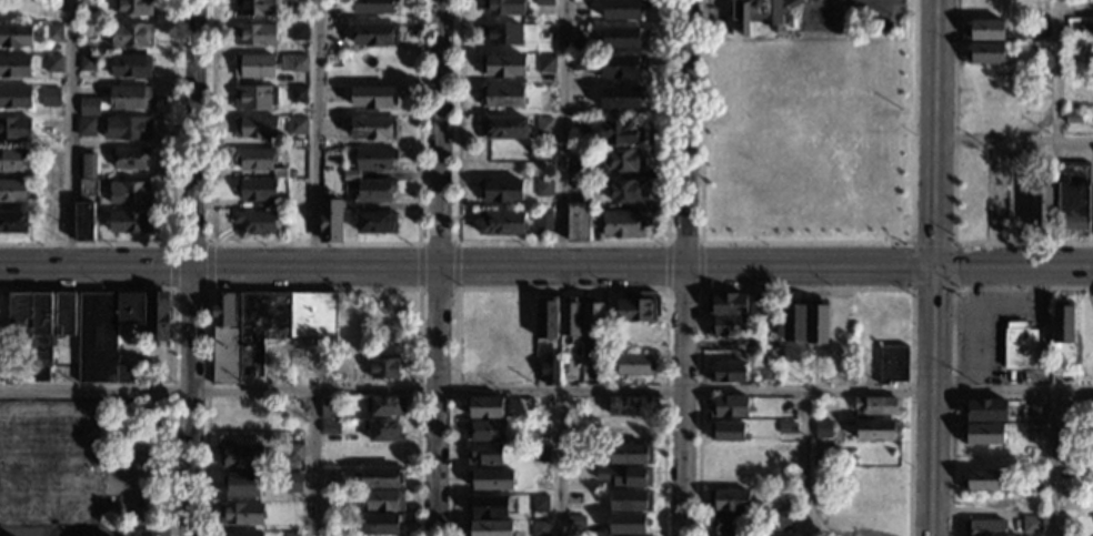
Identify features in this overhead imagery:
building: (543, 2)
building: (297, 3)
building: (333, 6)
road: (811, 6)
road: (834, 6)
building: (88, 7)
building: (373, 7)
building: (132, 8)
building: (254, 8)
building: (503, 8)
building: (622, 9)
road: (852, 10)
building: (763, 11)
building: (1039, 29)
building: (87, 31)
building: (984, 31)
building: (298, 32)
building: (52, 33)
building: (501, 34)
building: (16, 36)
building: (130, 36)
building: (255, 36)
building: (374, 36)
building: (623, 38)
building: (579, 45)
building: (984, 53)
building: (53, 63)
building: (86, 63)
building: (298, 63)
building: (545, 63)
building: (578, 63)
building: (14, 65)
building: (503, 65)
building: (621, 65)
building: (130, 67)
building: (254, 67)
road: (1056, 70)
building: (52, 92)
building: (298, 94)
building: (254, 97)
building: (372, 97)
building: (503, 97)
building: (620, 97)
building: (16, 98)
building: (130, 98)
building: (89, 107)
building: (1072, 118)
building: (295, 125)
building: (86, 127)
building: (544, 127)
building: (255, 128)
building: (504, 128)
building: (16, 129)
building: (127, 129)
building: (373, 129)
road: (69, 133)
road: (193, 133)
road: (314, 133)
road: (441, 133)
road: (561, 133)
building: (620, 133)
road: (1012, 140)
building: (130, 159)
building: (254, 159)
building: (373, 160)
building: (14, 161)
building: (626, 161)
building: (599, 173)
building: (581, 174)
building: (86, 175)
building: (350, 175)
building: (543, 188)
building: (254, 189)
building: (502, 191)
building: (626, 191)
road: (952, 191)
building: (13, 192)
building: (374, 192)
building: (130, 193)
building: (50, 194)
building: (1073, 196)
building: (278, 206)
road: (172, 208)
building: (1042, 208)
building: (1017, 216)
building: (331, 220)
building: (84, 221)
building: (129, 222)
building: (543, 222)
building: (13, 223)
building: (254, 223)
building: (377, 223)
building: (502, 223)
road: (561, 241)
road: (683, 241)
road: (806, 242)
road: (190, 243)
road: (437, 243)
road: (911, 243)
road: (313, 244)
road: (700, 264)
road: (766, 264)
traffic signals: (932, 264)
road: (172, 265)
road: (455, 265)
road: (665, 265)
road: (209, 266)
road: (418, 266)
road: (96, 267)
road: (317, 267)
road: (685, 267)
road: (932, 267)
road: (190, 289)
road: (313, 289)
road: (437, 289)
road: (804, 289)
road: (560, 290)
road: (682, 290)
building: (732, 304)
building: (639, 309)
building: (570, 316)
building: (156, 317)
building: (546, 320)
building: (592, 320)
building: (793, 322)
building: (282, 323)
building: (816, 324)
building: (39, 325)
building: (1062, 325)
road: (171, 326)
building: (728, 326)
building: (635, 334)
building: (106, 336)
building: (223, 340)
road: (951, 342)
building: (1019, 346)
building: (563, 348)
building: (892, 364)
building: (635, 365)
building: (387, 368)
building: (550, 368)
building: (770, 371)
building: (728, 373)
building: (18, 374)
road: (545, 390)
road: (440, 401)
road: (191, 402)
building: (631, 405)
building: (385, 406)
building: (485, 406)
building: (876, 406)
building: (730, 407)
building: (328, 408)
building: (984, 409)
building: (1037, 409)
building: (786, 426)
building: (823, 428)
building: (539, 429)
building: (382, 431)
building: (631, 431)
building: (876, 431)
building: (485, 432)
building: (726, 432)
building: (329, 433)
building: (983, 434)
building: (294, 453)
building: (540, 453)
building: (575, 453)
building: (630, 453)
building: (484, 455)
building: (241, 456)
road: (310, 463)
road: (559, 463)
road: (806, 464)
road: (1053, 464)
building: (624, 476)
building: (382, 477)
building: (490, 479)
building: (982, 481)
building: (294, 482)
building: (247, 484)
building: (384, 500)
building: (630, 500)
building: (729, 500)
building: (539, 503)
building: (493, 506)
building: (241, 514)
building: (575, 520)
building: (327, 522)
building: (779, 522)
building: (381, 523)
building: (725, 523)
building: (630, 524)
building: (1031, 524)
building: (984, 527)
building: (490, 528)
building: (540, 528)
road: (94, 533)
road: (143, 534)
building: (240, 534)
building: (291, 535)
building: (1032, 535)

